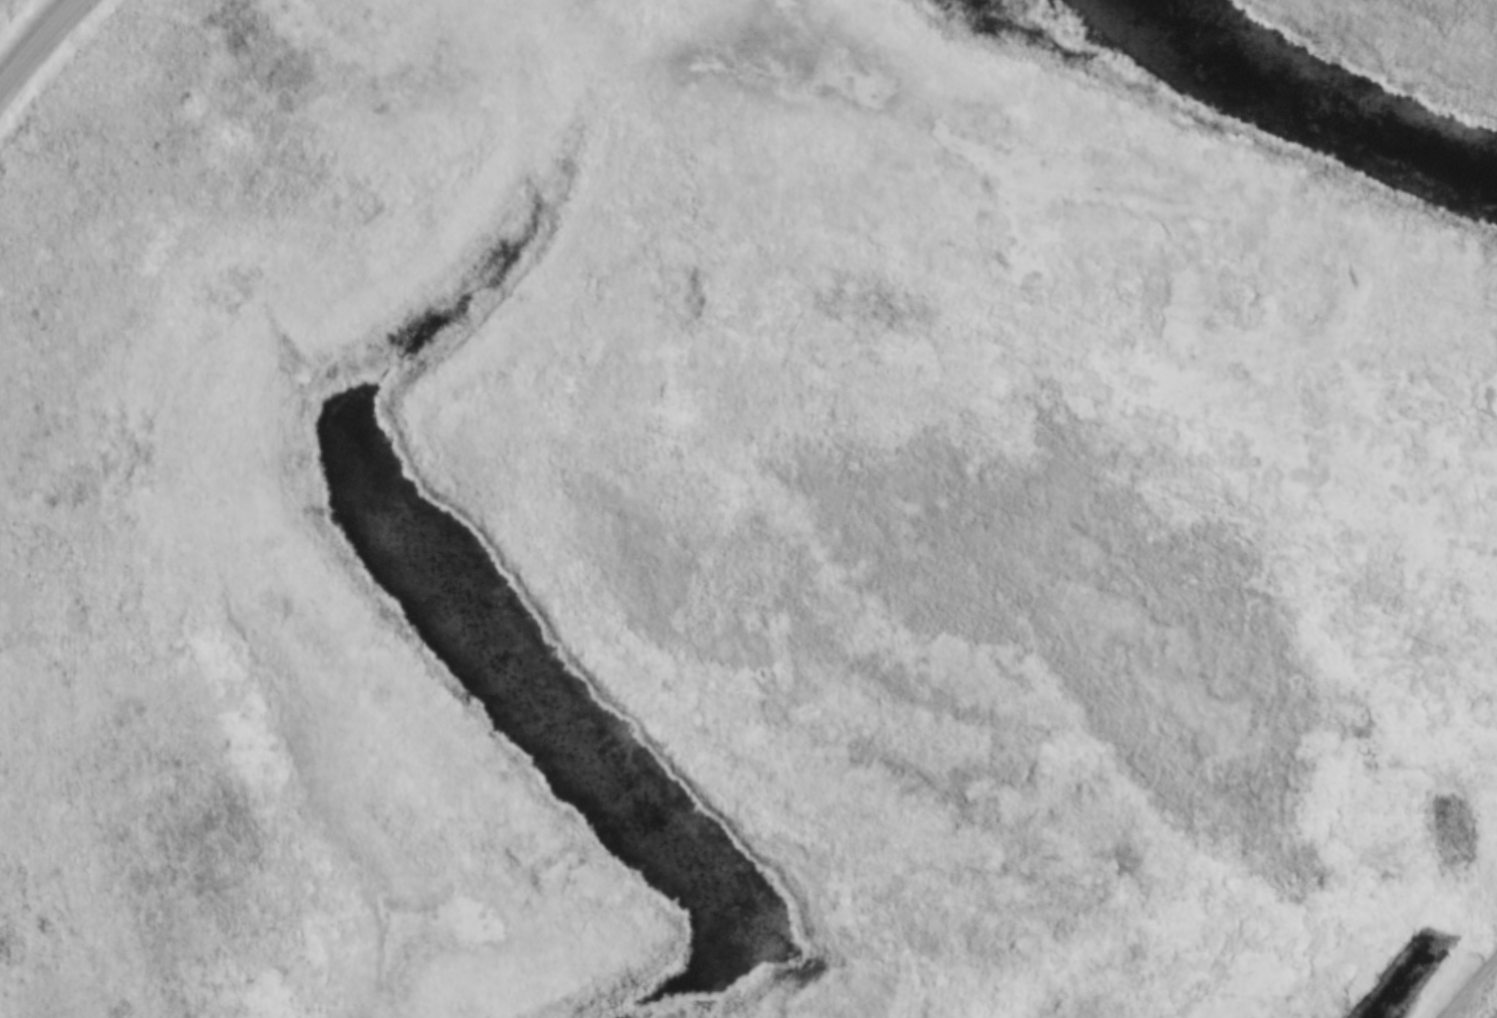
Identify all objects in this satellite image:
road: (36, 42)
road: (1469, 984)
dam: (1482, 1002)

